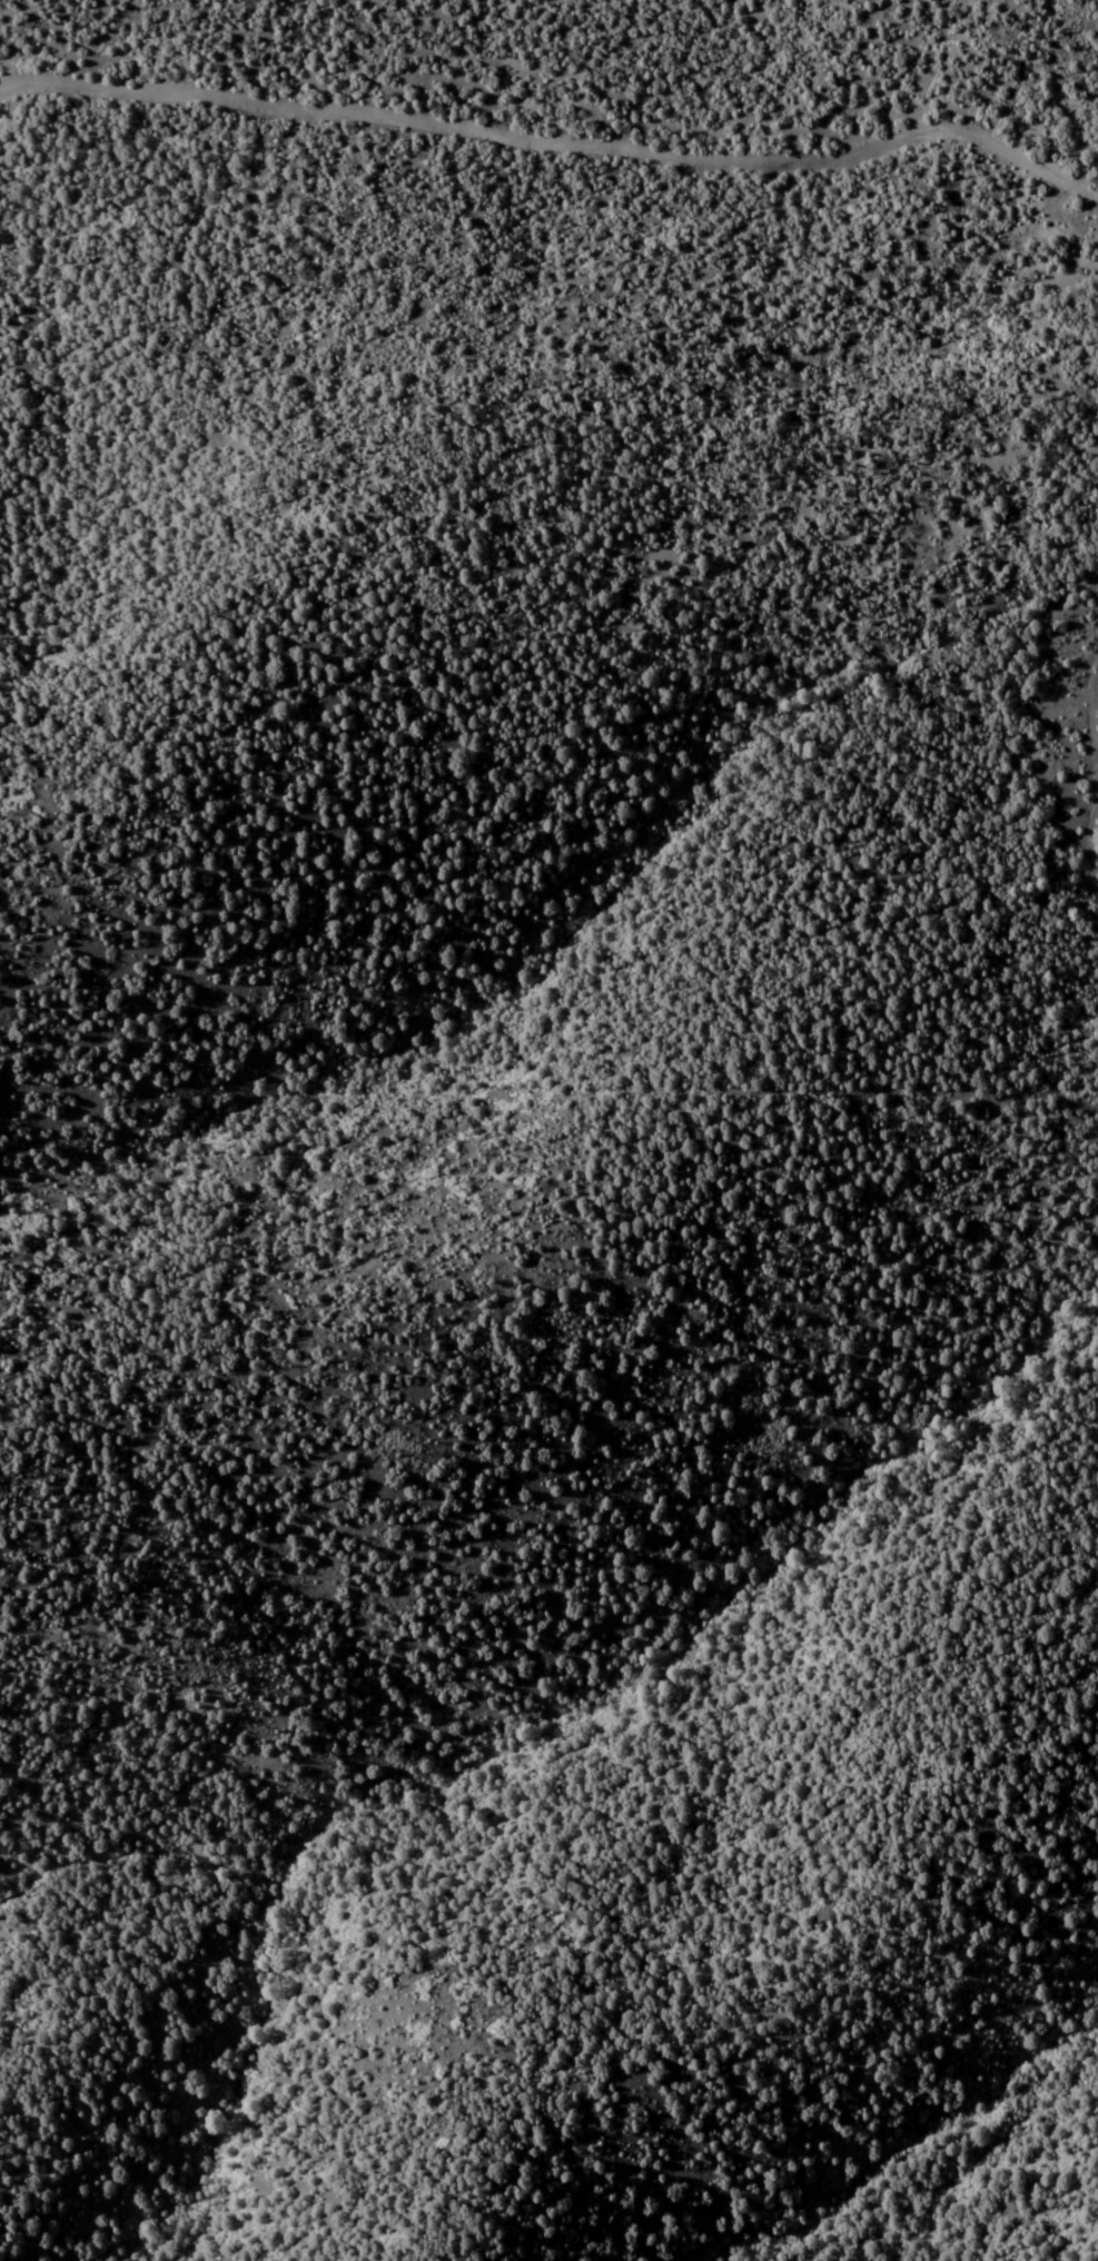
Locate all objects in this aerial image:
road: (550, 162)

